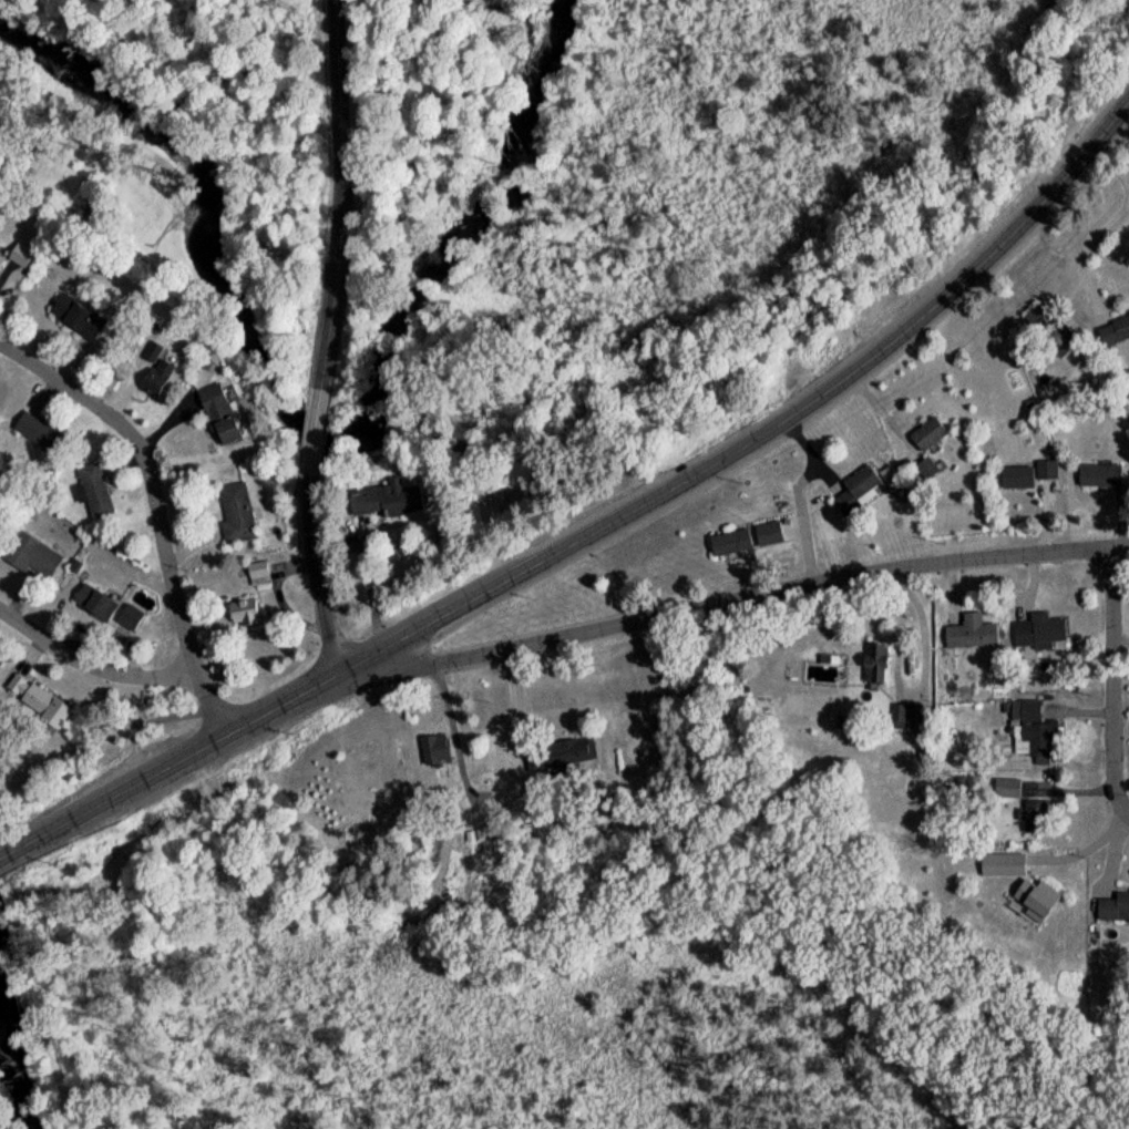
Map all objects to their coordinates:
road: (1107, 167)
road: (342, 196)
road: (1092, 246)
building: (18, 260)
building: (0, 265)
building: (75, 322)
building: (1047, 336)
building: (1112, 336)
building: (151, 377)
building: (217, 419)
road: (311, 437)
building: (37, 438)
building: (925, 440)
road: (152, 471)
building: (924, 474)
building: (1044, 475)
building: (1096, 480)
building: (1014, 483)
building: (854, 495)
building: (92, 496)
road: (798, 499)
building: (383, 504)
building: (234, 517)
road: (599, 528)
building: (766, 540)
building: (727, 547)
building: (29, 562)
building: (254, 575)
road: (316, 581)
road: (747, 601)
building: (92, 608)
building: (240, 617)
building: (126, 623)
building: (1037, 636)
building: (967, 639)
road: (85, 661)
building: (872, 668)
road: (1113, 678)
building: (30, 705)
road: (204, 708)
building: (906, 723)
building: (1028, 733)
building: (432, 756)
building: (557, 759)
building: (1032, 822)
building: (1029, 894)
building: (1112, 914)

